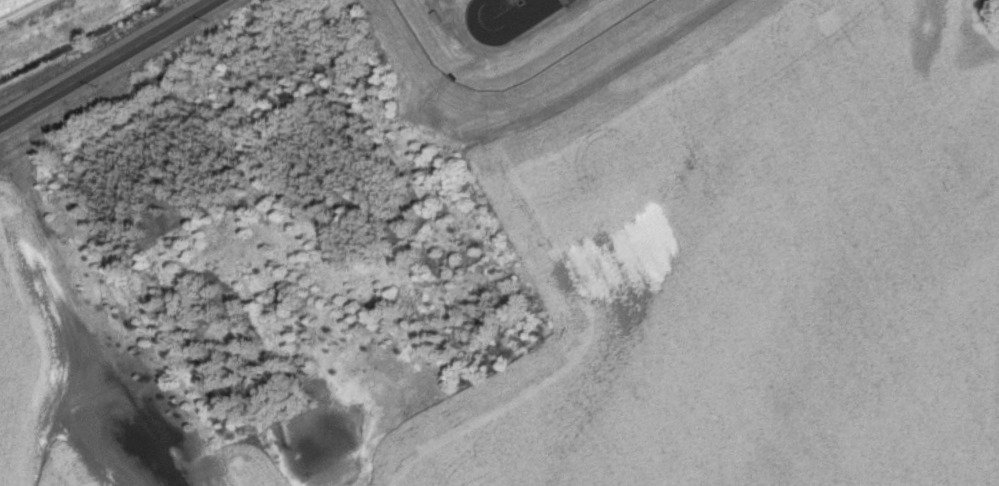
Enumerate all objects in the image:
road: (23, 12)
road: (509, 48)
wastewater plant: (510, 54)
road: (108, 62)
road: (610, 79)
crop: (747, 264)
crop: (81, 396)

